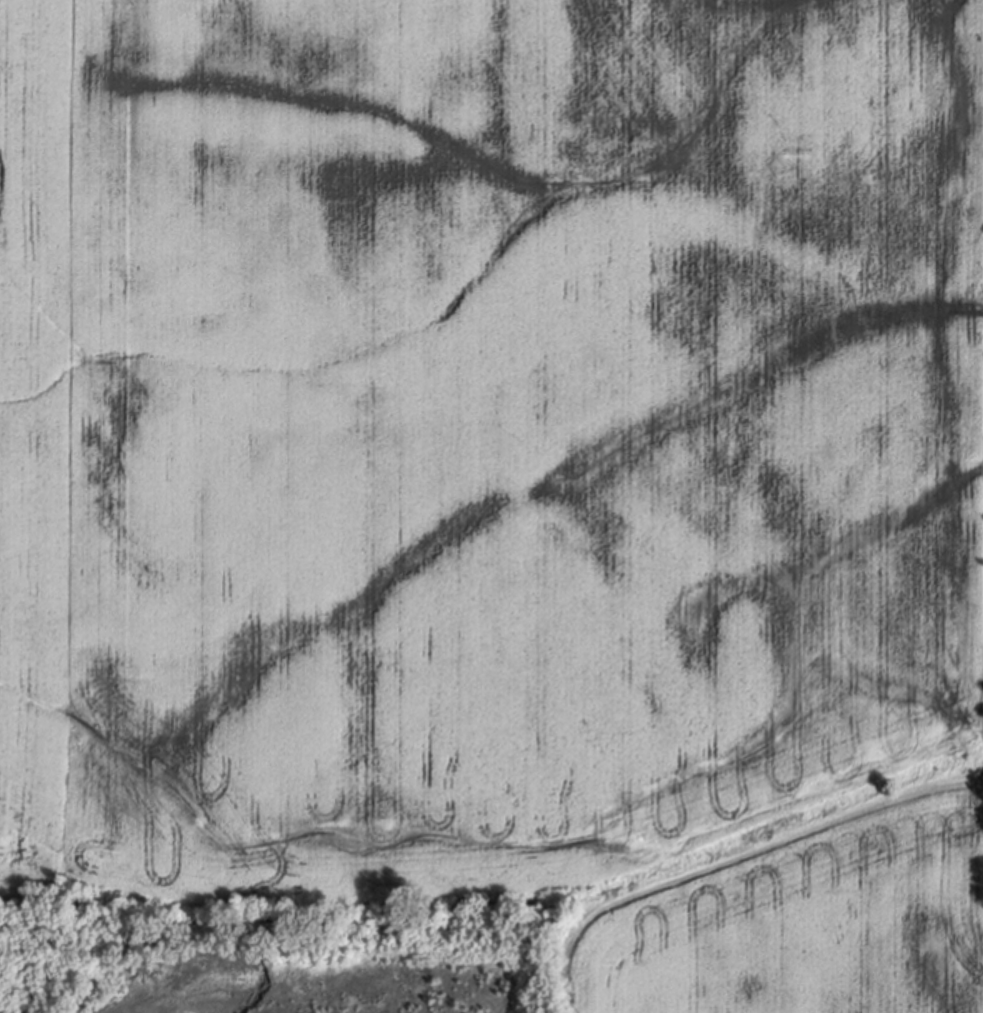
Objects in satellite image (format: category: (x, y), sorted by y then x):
crop: (503, 478)
quarry: (279, 962)

